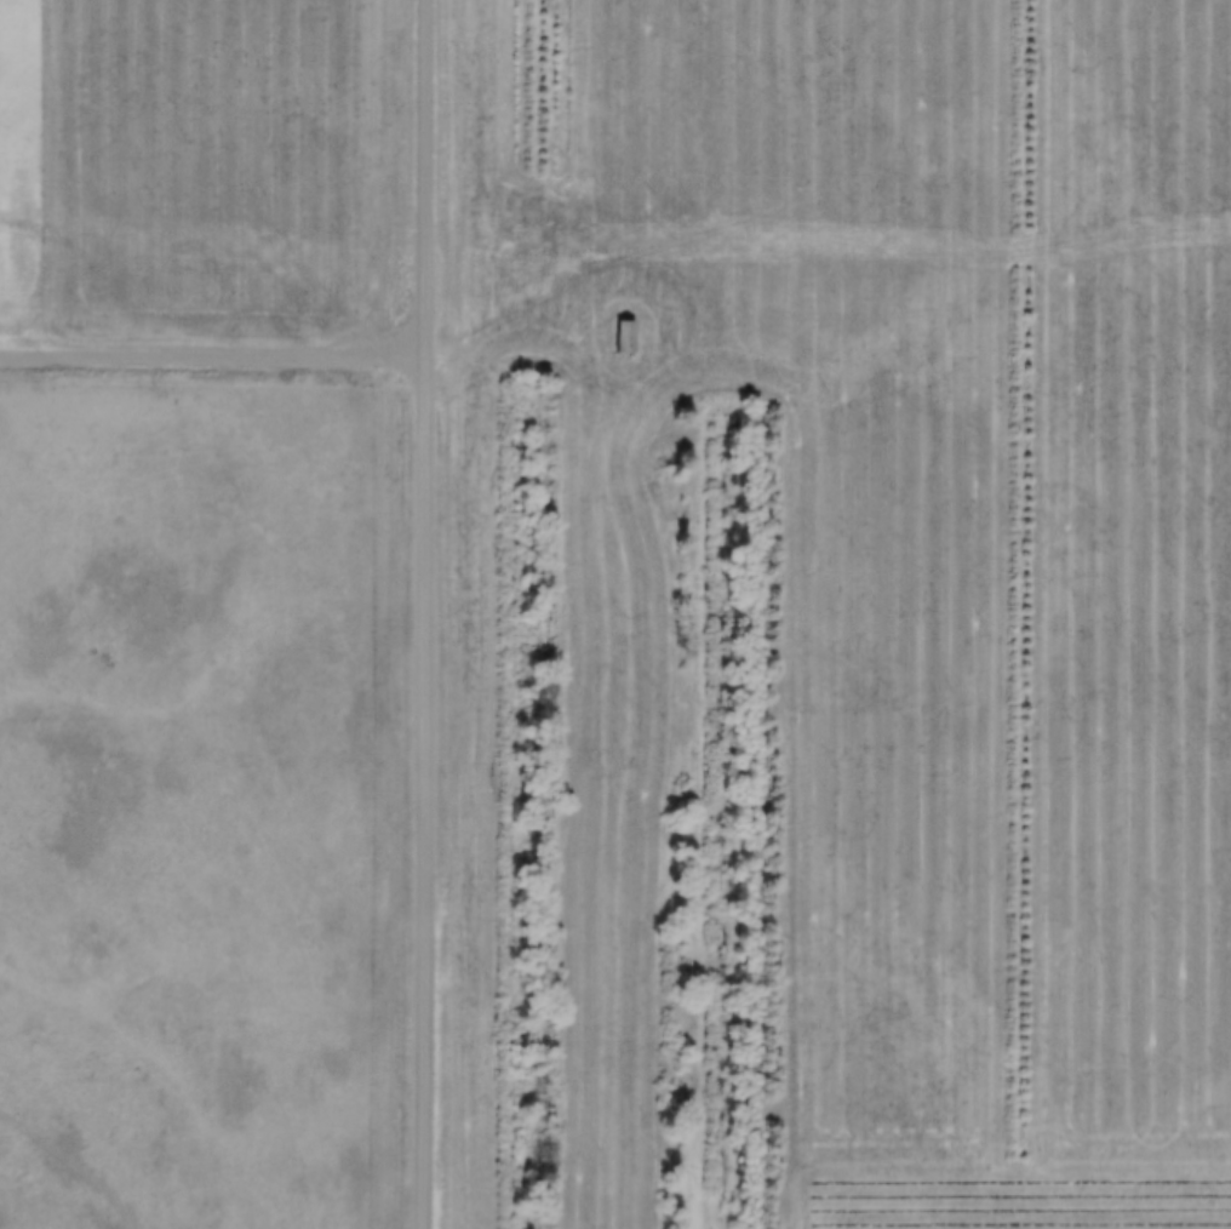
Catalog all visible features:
building: (619, 333)
road: (430, 614)
road: (956, 1221)

